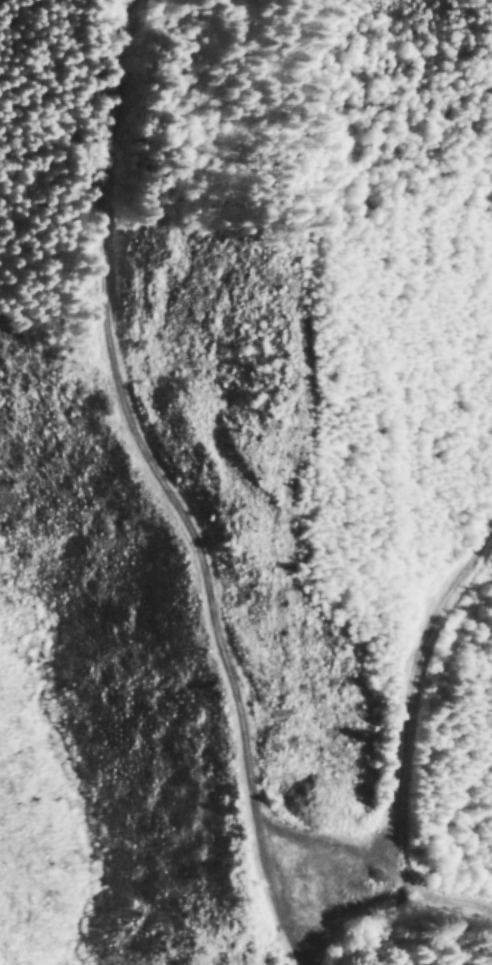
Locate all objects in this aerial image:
road: (161, 473)

